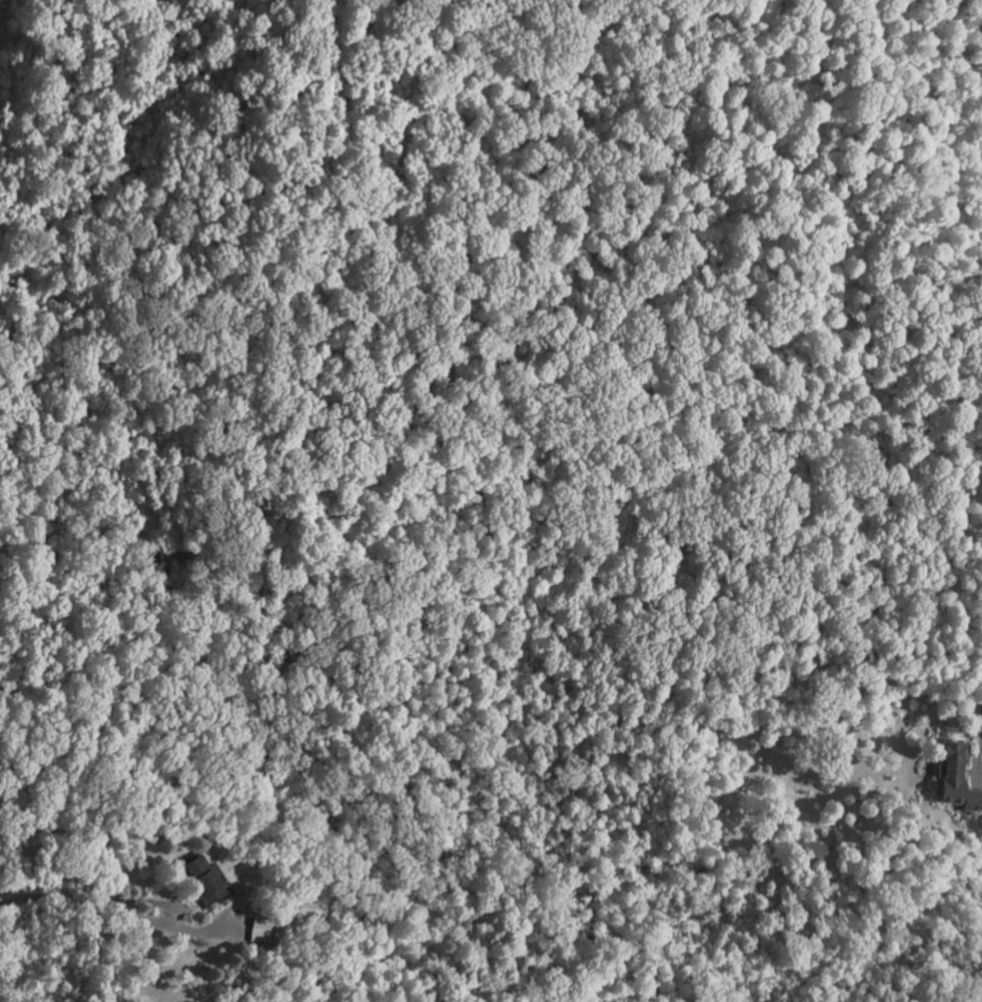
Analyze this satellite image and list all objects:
road: (980, 721)
road: (976, 756)
building: (958, 777)
building: (205, 880)
road: (47, 901)
road: (161, 922)
building: (265, 929)

